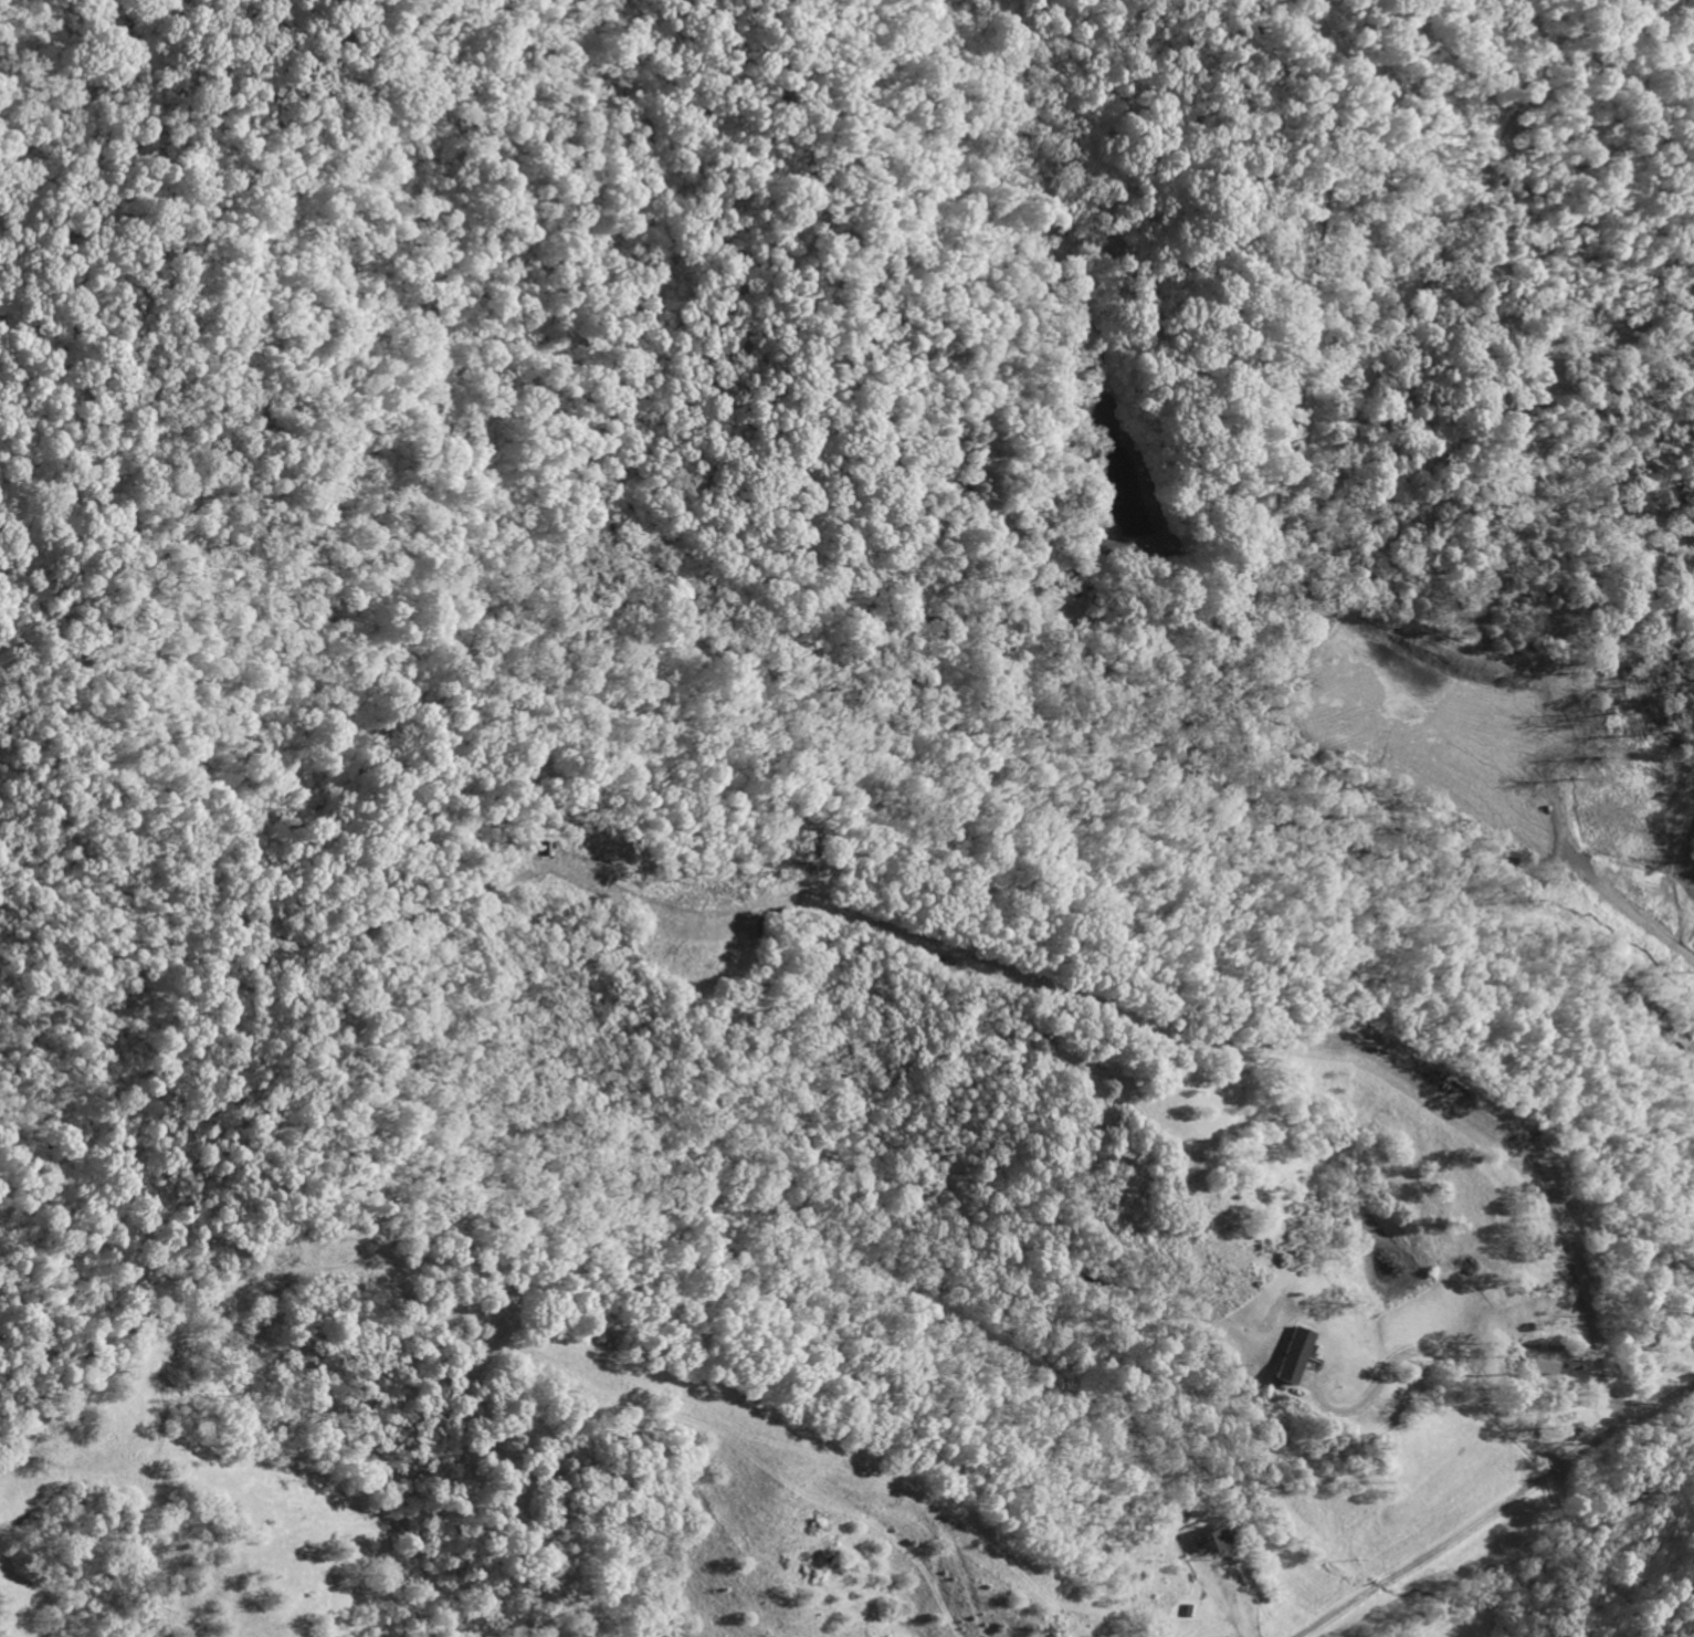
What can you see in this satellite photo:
road: (1437, 1353)
building: (1287, 1356)
road: (1621, 1423)
building: (1210, 1543)
road: (1431, 1557)

